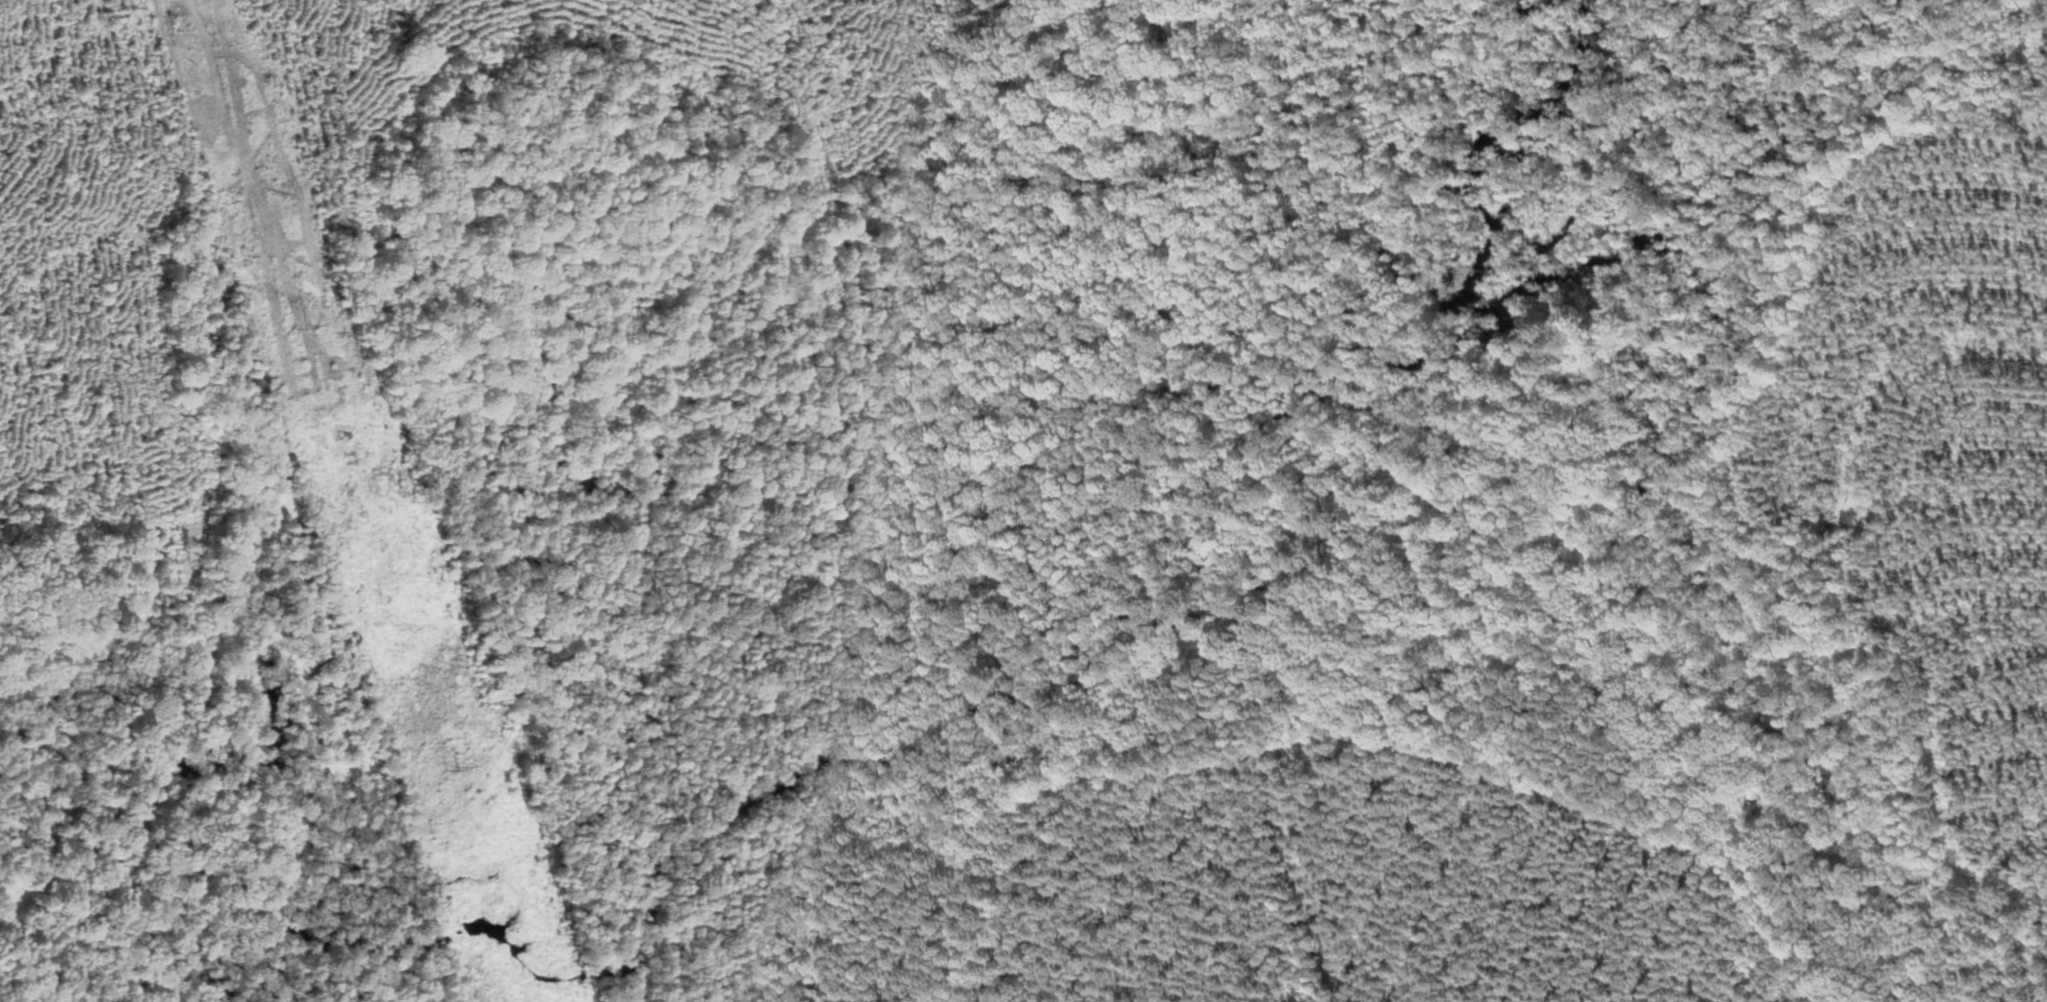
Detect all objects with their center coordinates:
power tower: (298, 328)
power tower: (444, 769)

